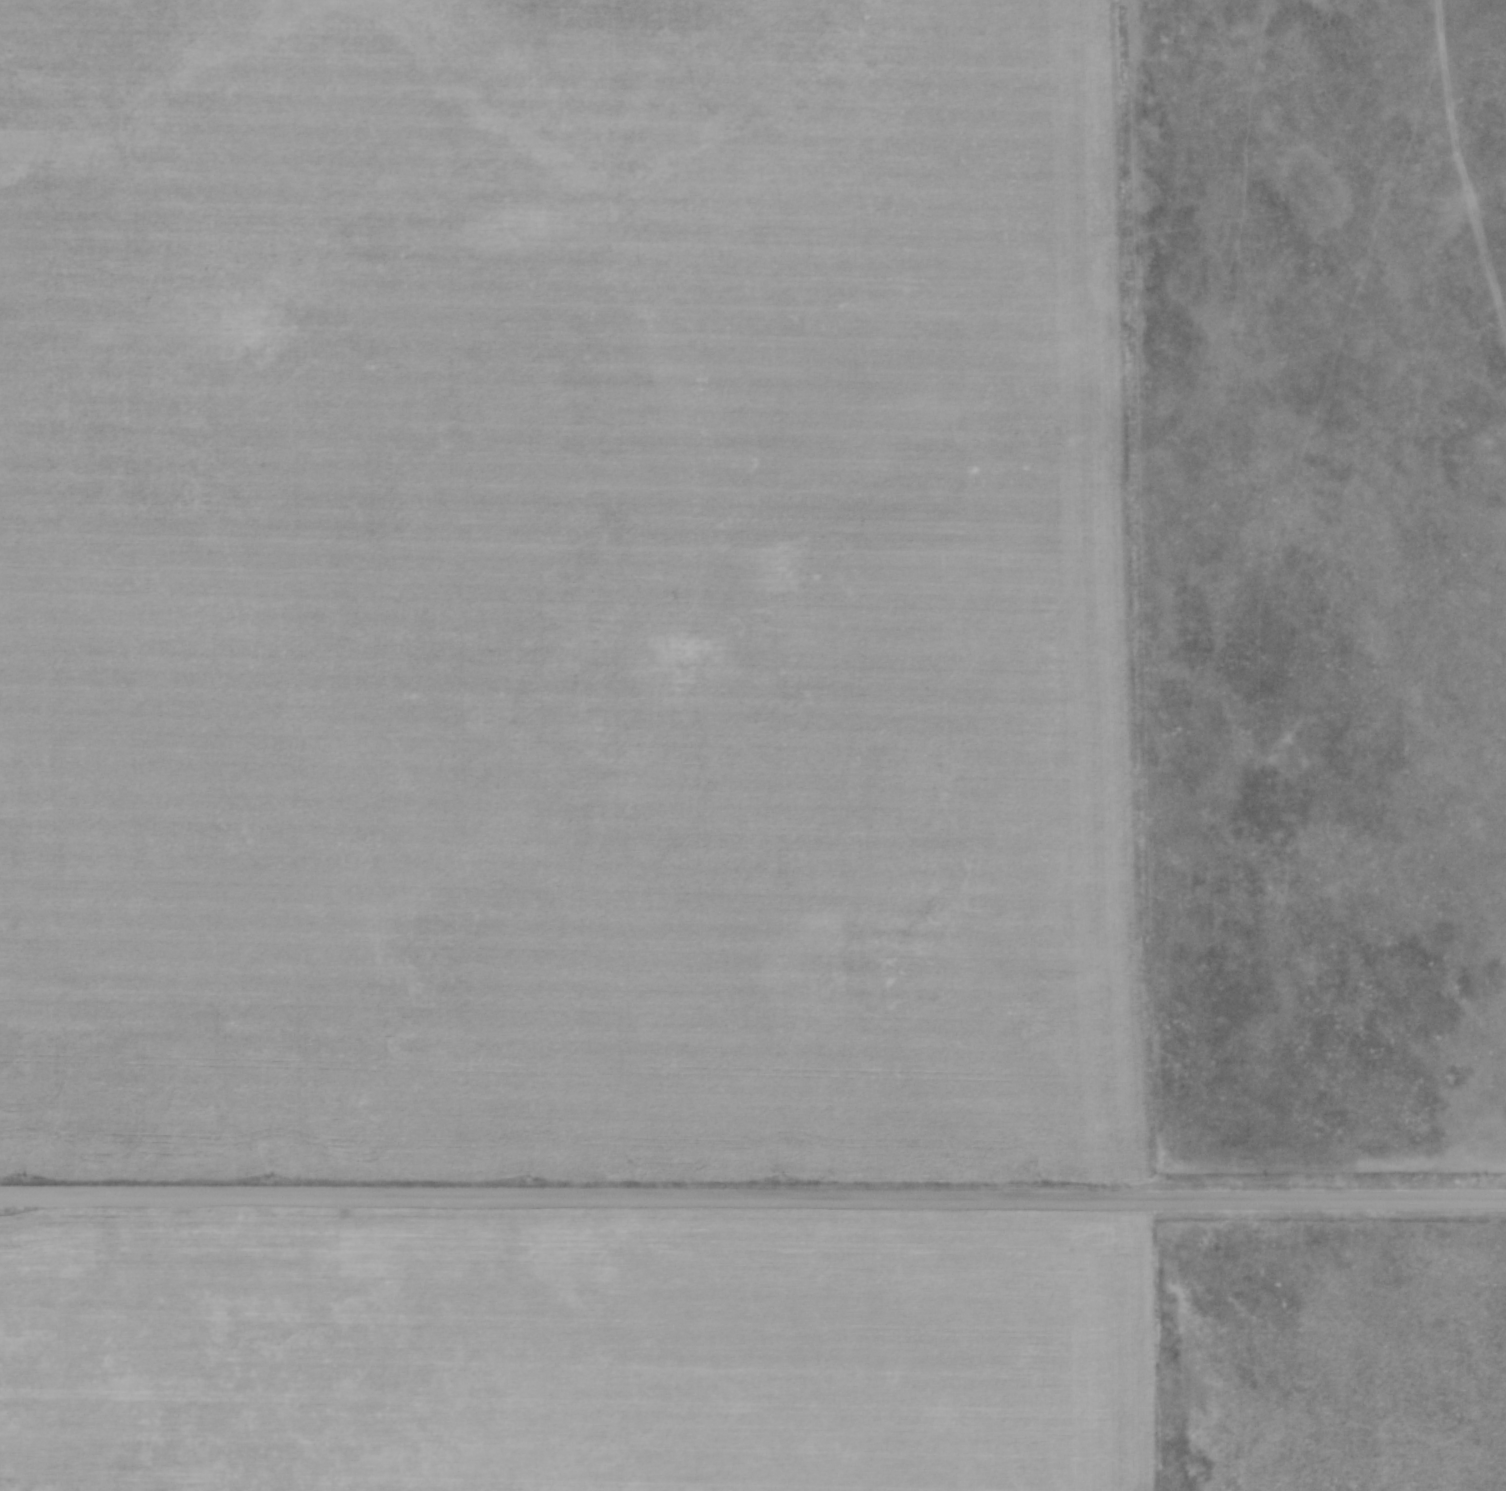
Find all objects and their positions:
road: (753, 1201)
crop: (590, 1351)
building: (176, 1488)
silo: (176, 1488)
building: (192, 1488)
silo: (192, 1488)
building: (152, 1489)
silo: (152, 1489)

